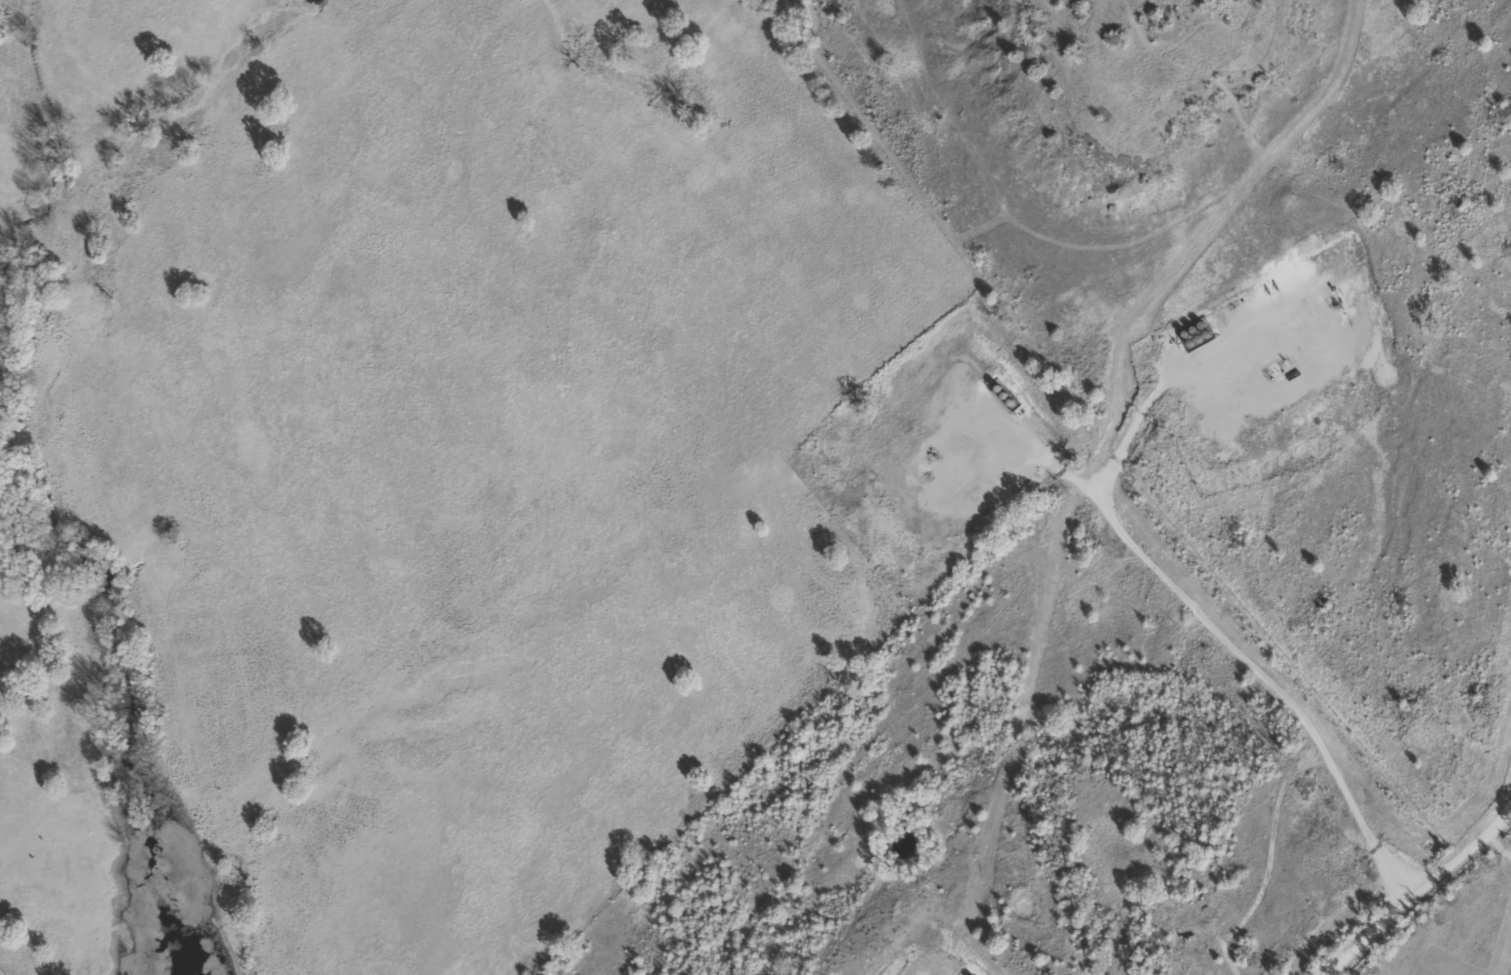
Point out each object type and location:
road: (1142, 419)
road: (1257, 667)
road: (1432, 893)

